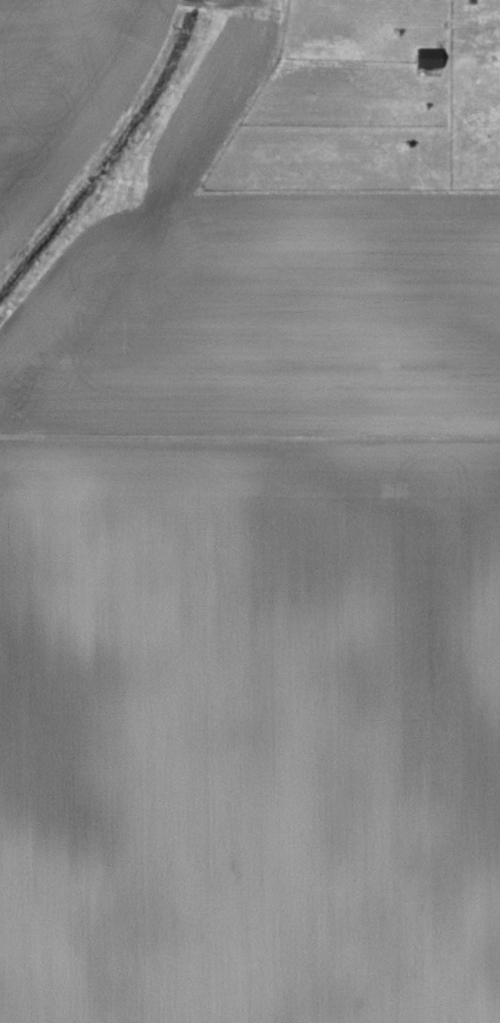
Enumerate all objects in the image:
building: (424, 57)

